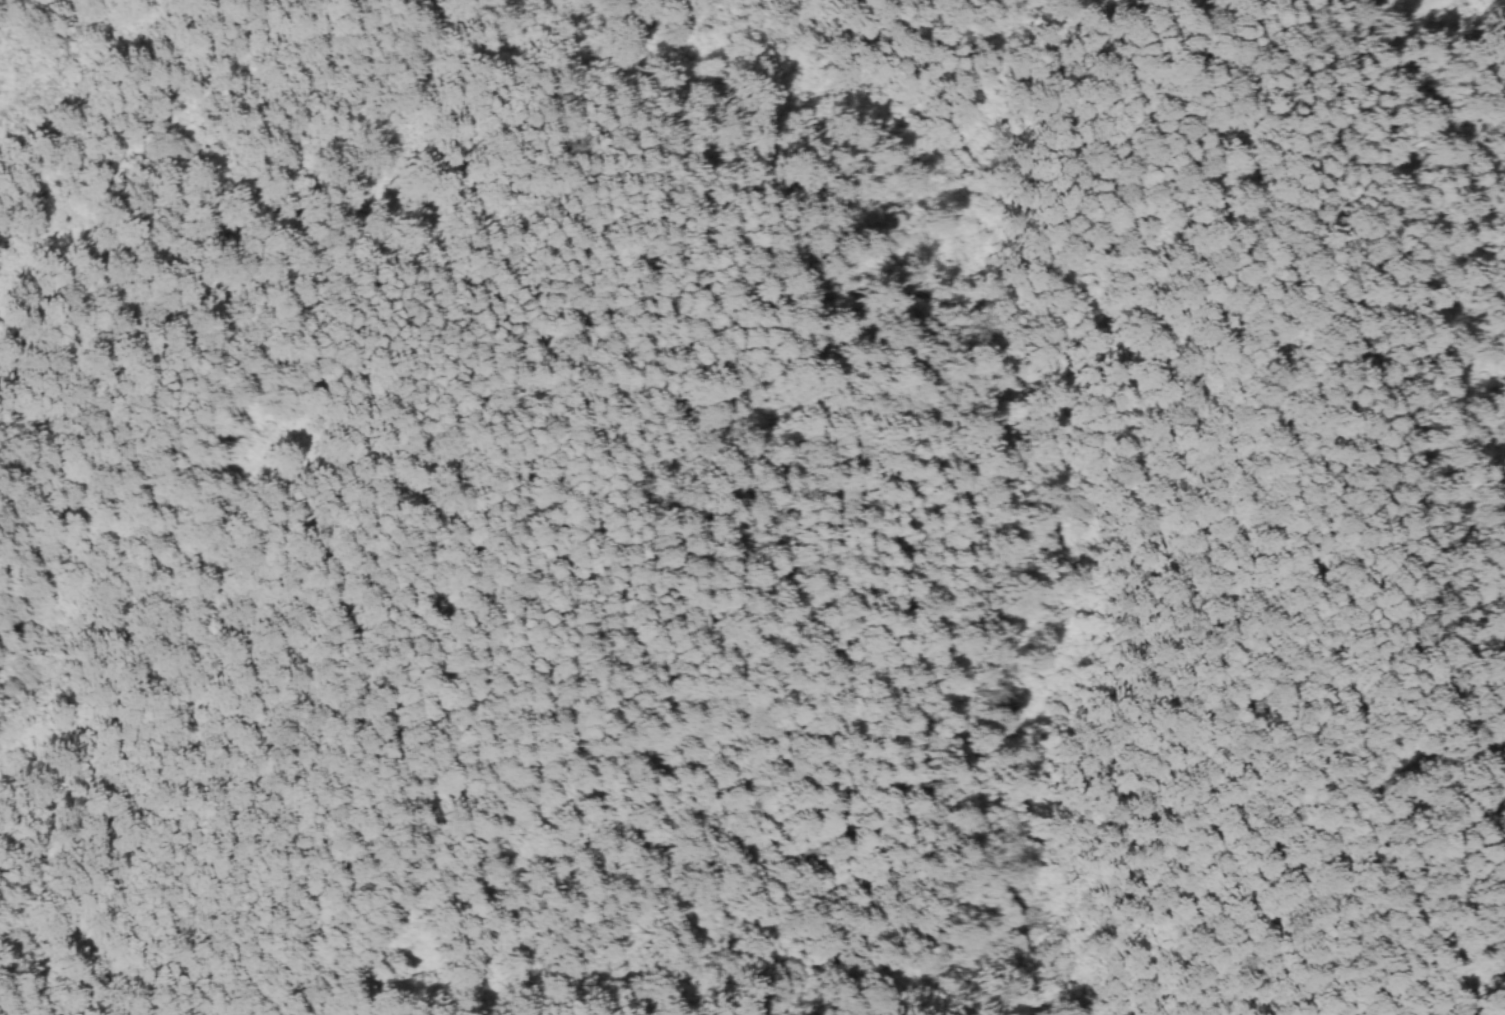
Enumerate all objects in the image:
road: (1445, 94)
road: (331, 478)

